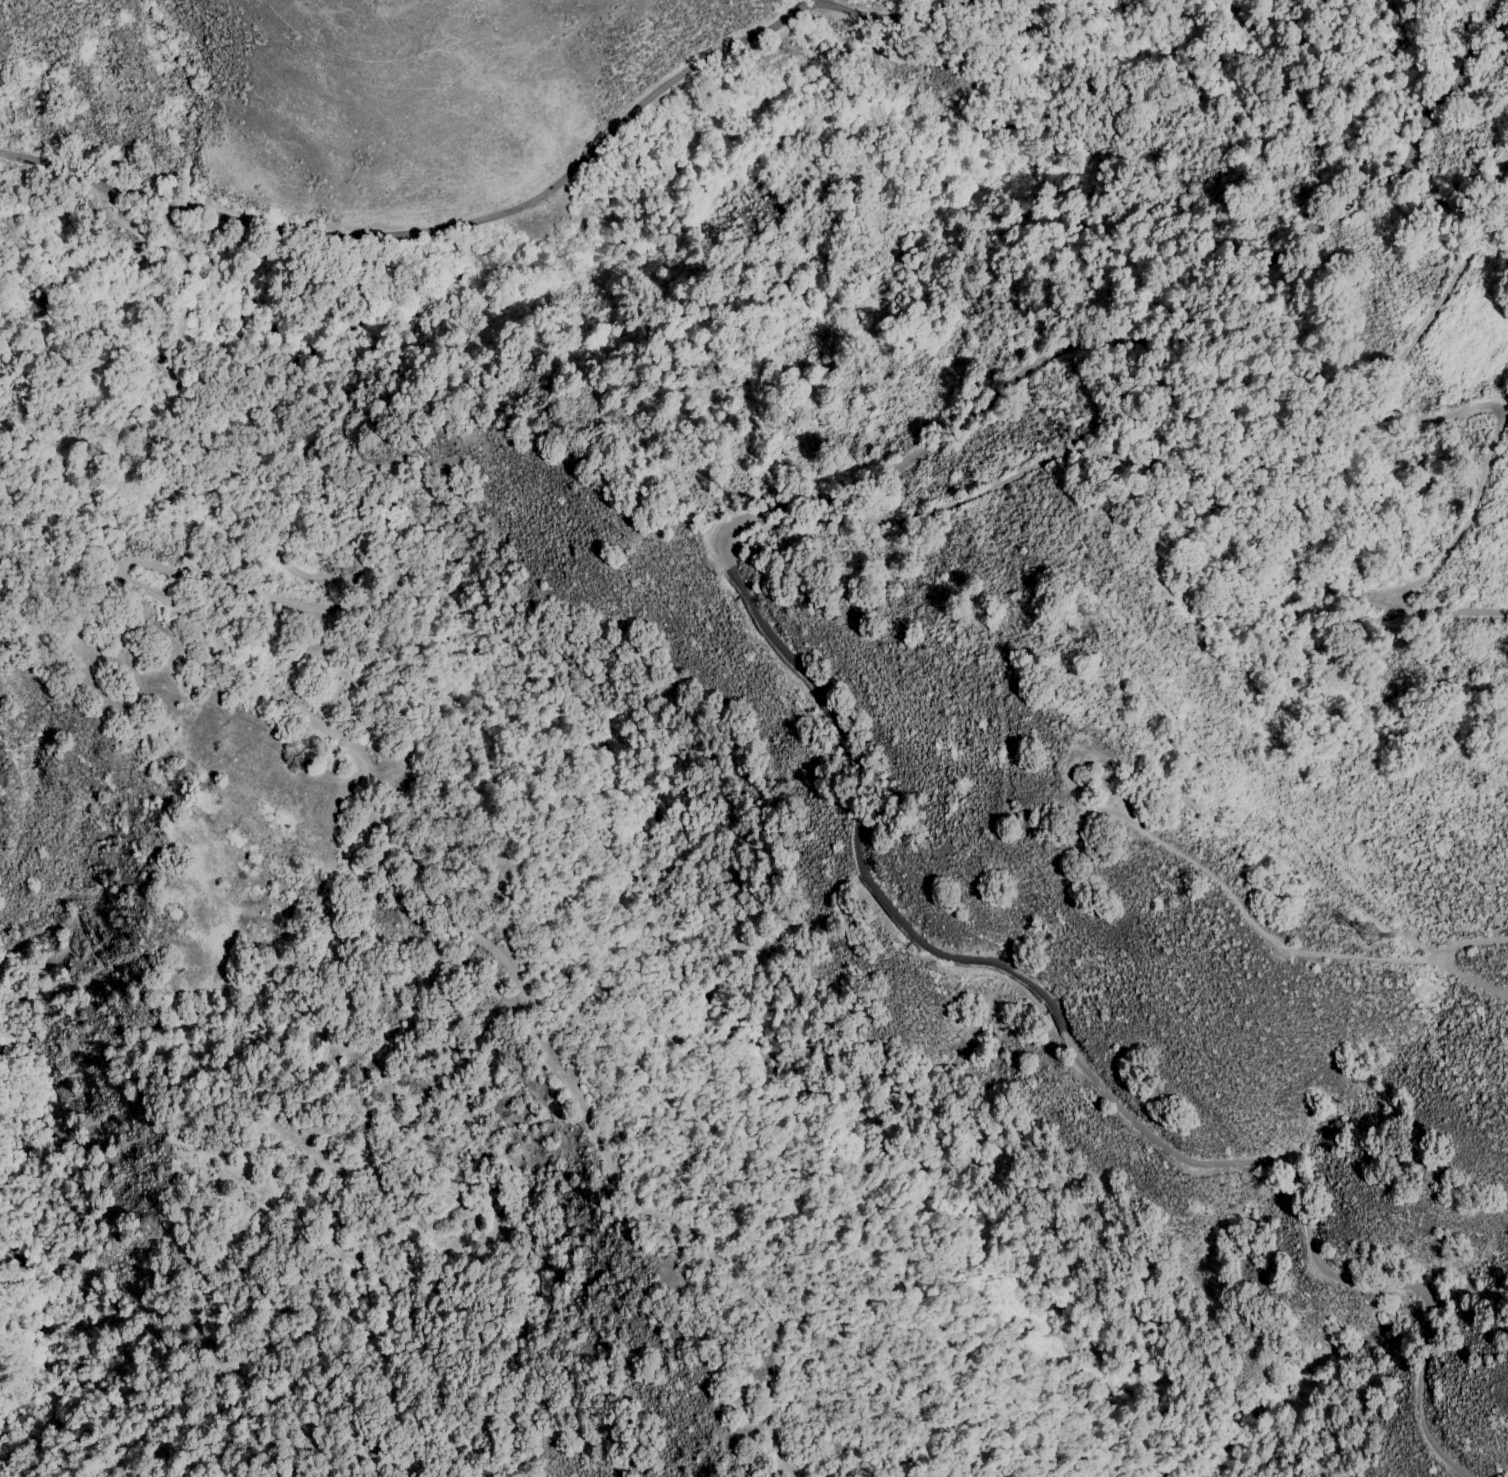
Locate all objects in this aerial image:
power tower: (768, 91)
road: (52, 177)
road: (555, 188)
road: (144, 234)
road: (176, 305)
road: (837, 700)
road: (356, 765)
power tower: (1370, 935)
park: (40, 1253)

